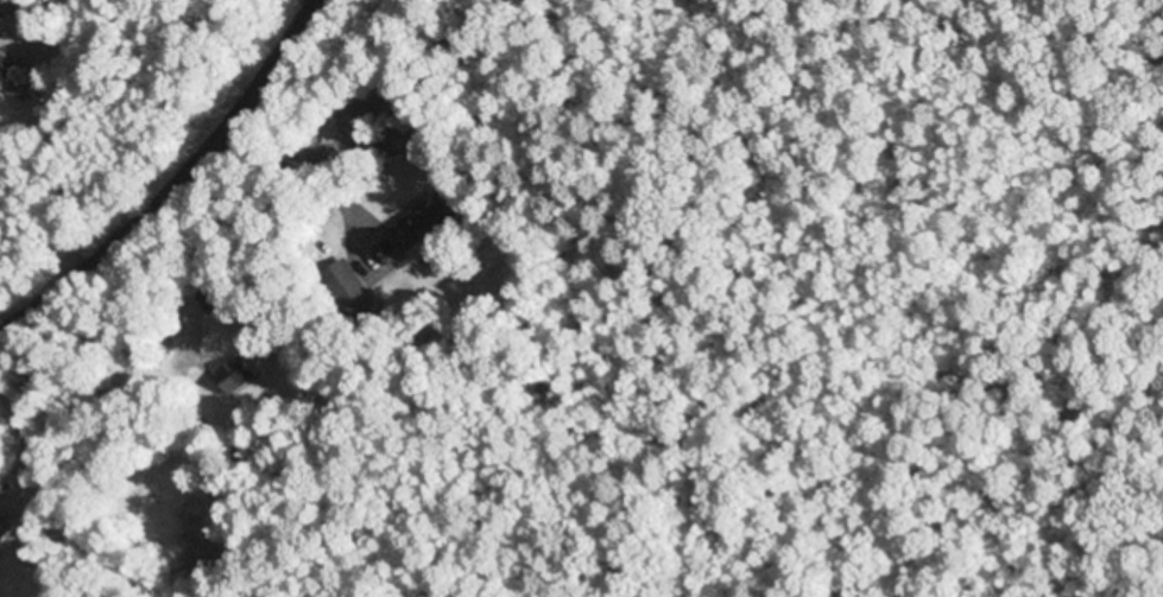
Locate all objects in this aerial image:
building: (4, 74)
road: (178, 185)
building: (424, 222)
building: (348, 287)
building: (213, 298)
building: (238, 376)
building: (5, 534)

